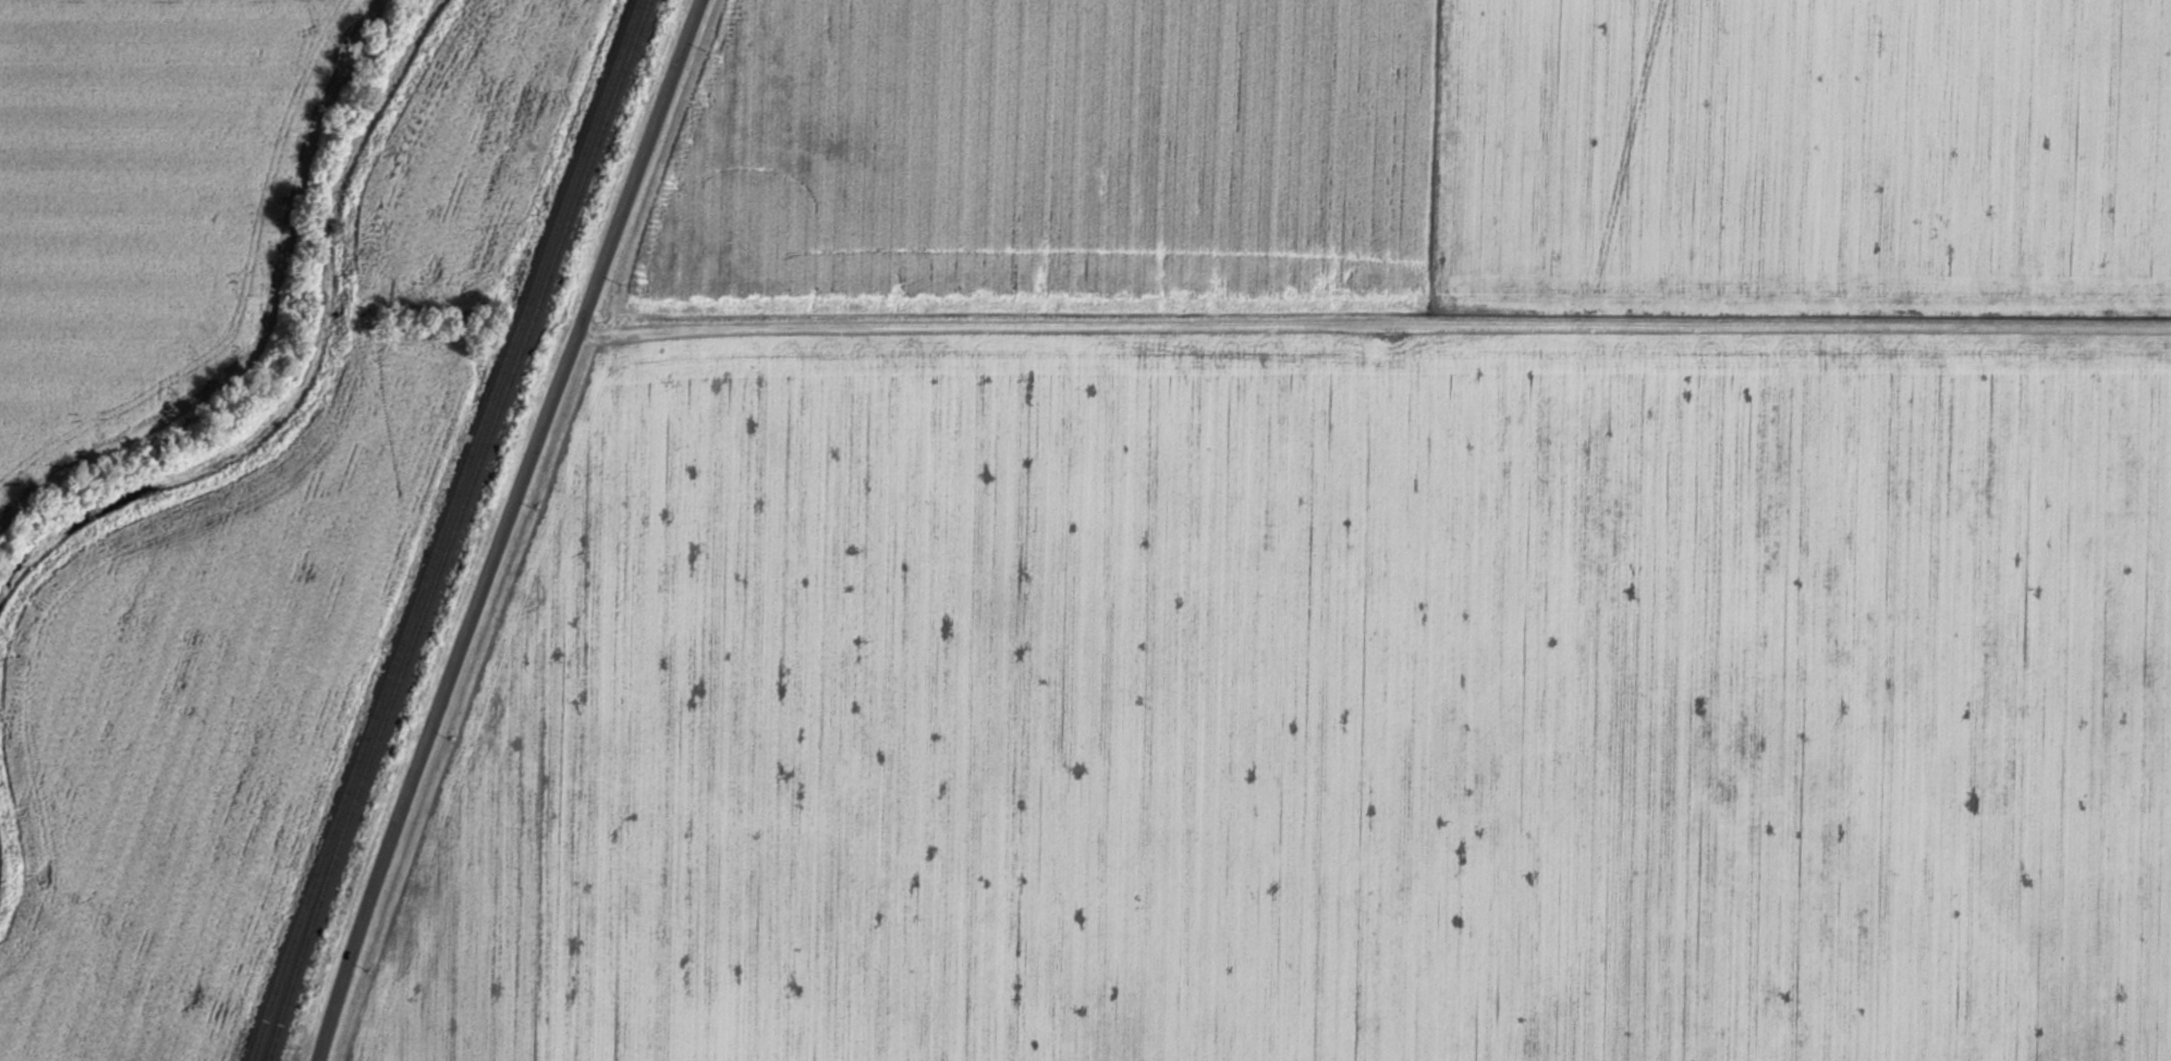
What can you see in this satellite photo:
railway: (455, 528)
road: (503, 528)
railway: (442, 529)

